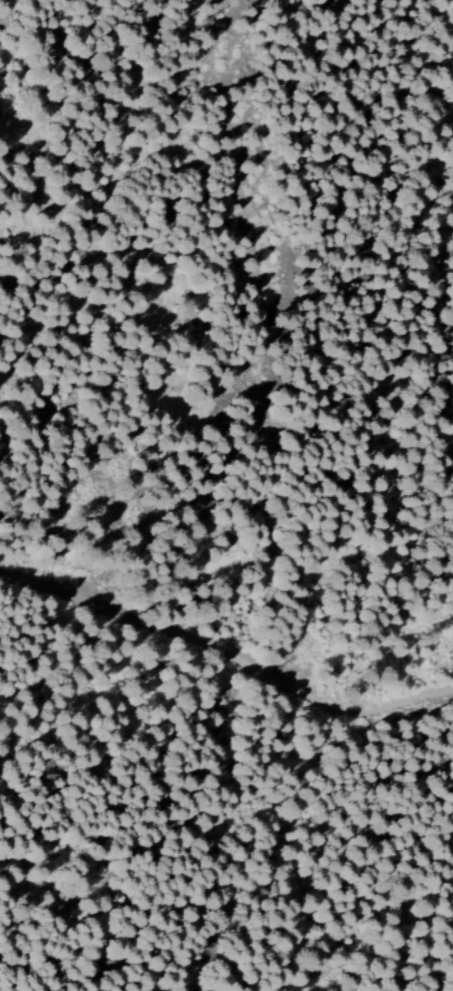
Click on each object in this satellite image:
road: (226, 658)

